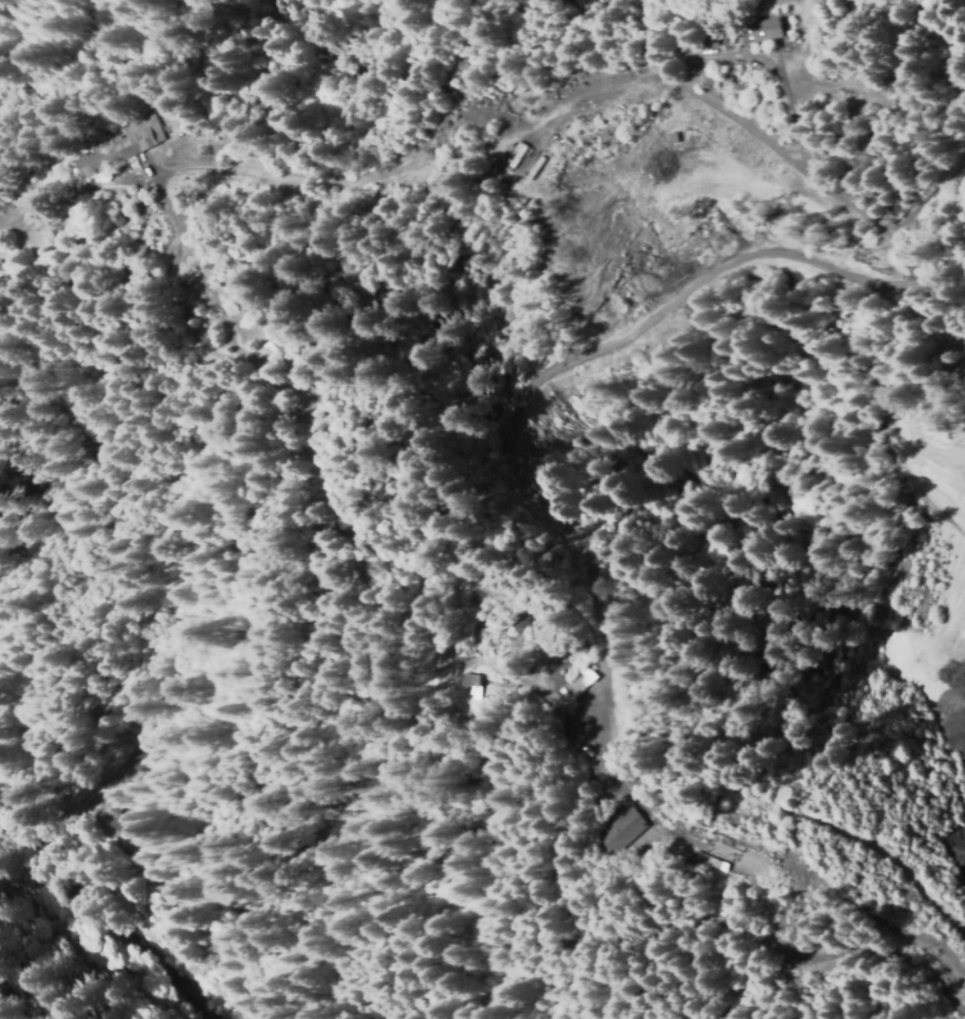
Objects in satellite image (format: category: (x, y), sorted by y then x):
building: (760, 21)
building: (770, 29)
building: (715, 34)
building: (601, 65)
building: (556, 76)
building: (542, 78)
building: (169, 104)
building: (123, 145)
road: (86, 148)
building: (515, 153)
building: (533, 165)
building: (364, 195)
building: (120, 218)
building: (948, 360)
building: (961, 387)
building: (287, 403)
road: (88, 524)
road: (493, 578)
building: (522, 620)
building: (468, 678)
building: (578, 684)
building: (599, 710)
road: (602, 719)
building: (592, 724)
building: (125, 753)
road: (712, 763)
building: (682, 799)
building: (120, 822)
building: (622, 829)
building: (681, 858)
building: (151, 865)
road: (102, 921)
road: (386, 997)

